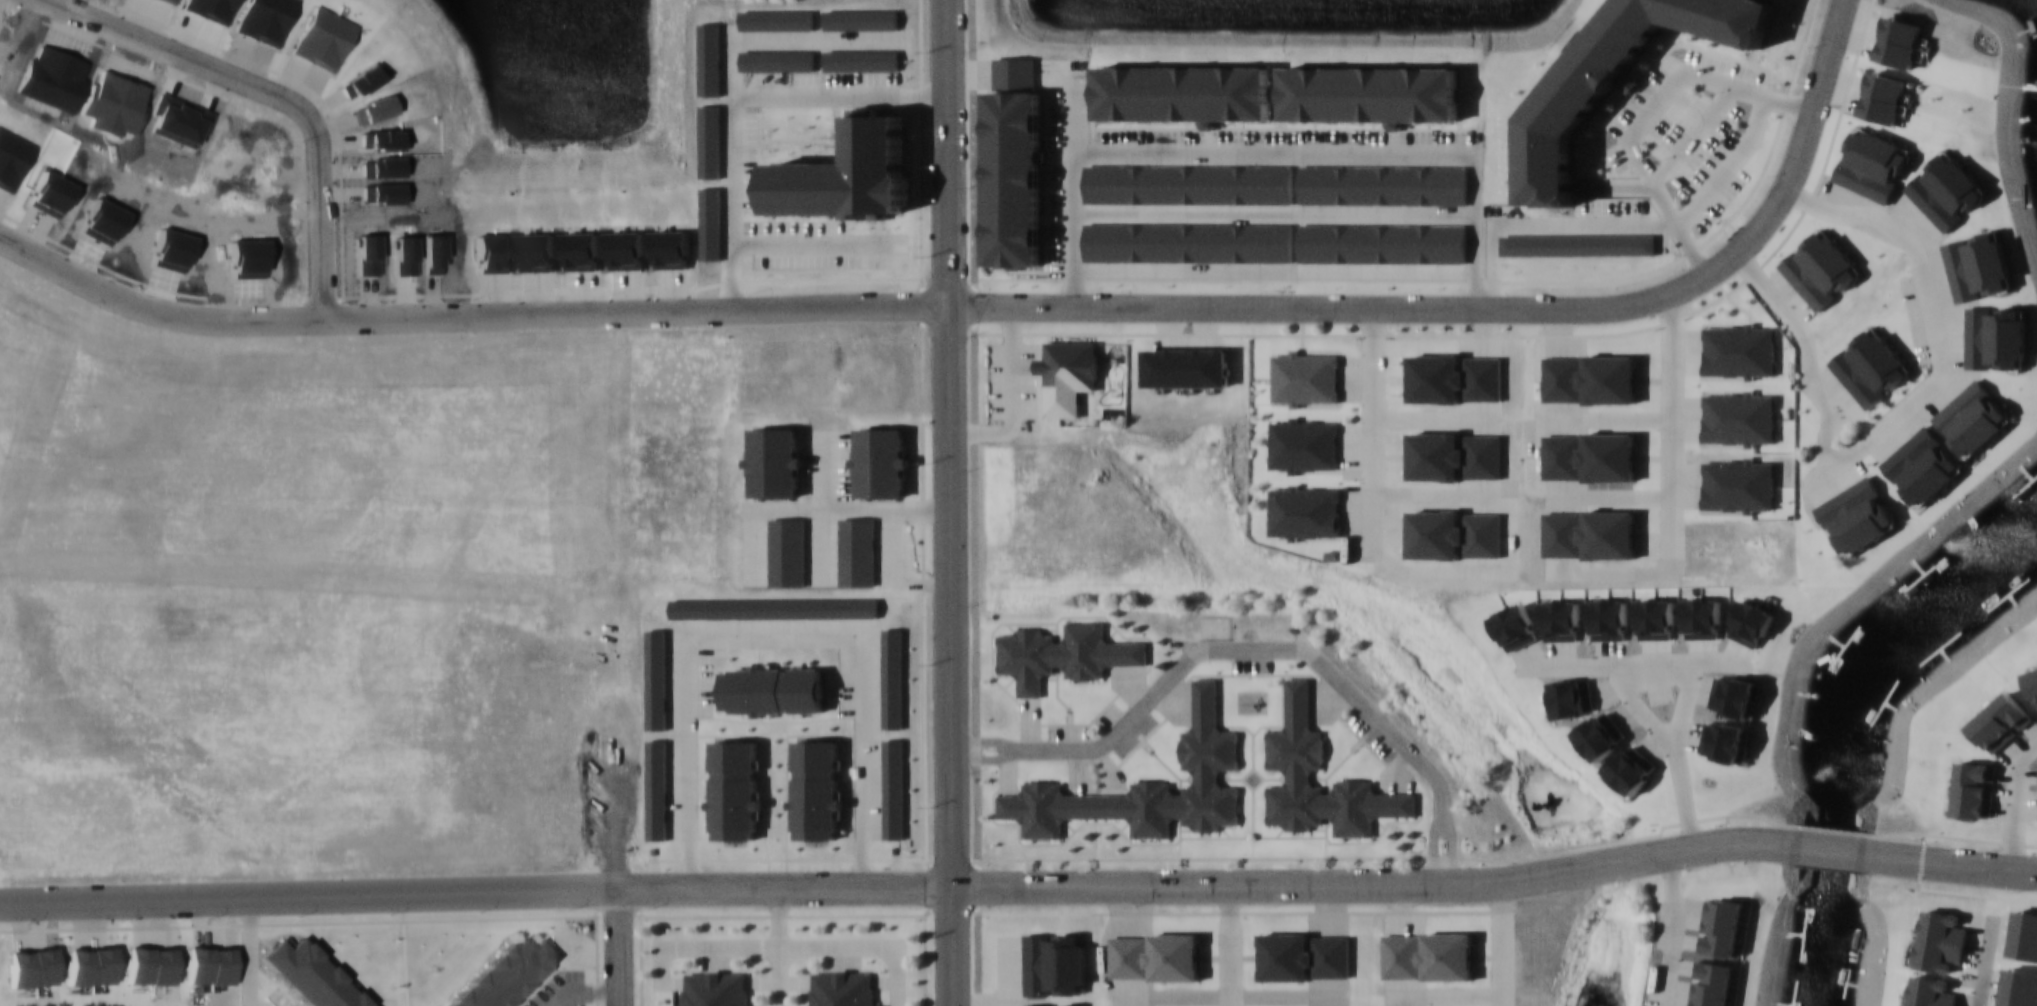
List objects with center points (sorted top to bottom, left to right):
building: (1184, 92)
road: (272, 94)
building: (1015, 163)
building: (1188, 183)
building: (1188, 241)
building: (1383, 242)
building: (1988, 263)
building: (1820, 269)
road: (1489, 309)
road: (465, 314)
building: (1739, 350)
building: (1070, 365)
building: (1306, 376)
building: (1456, 378)
building: (1590, 378)
building: (1740, 417)
road: (949, 443)
building: (1304, 444)
building: (1455, 456)
building: (1590, 456)
building: (775, 461)
building: (879, 462)
building: (1922, 466)
building: (1307, 511)
building: (1857, 515)
building: (1563, 533)
building: (1606, 533)
building: (1455, 534)
building: (787, 550)
building: (857, 550)
building: (774, 608)
road: (1253, 649)
building: (1063, 654)
building: (656, 678)
building: (893, 678)
building: (2032, 684)
building: (773, 689)
building: (1998, 720)
road: (1282, 725)
road: (984, 740)
building: (1296, 748)
road: (985, 758)
road: (1682, 760)
road: (1263, 778)
building: (1146, 785)
building: (816, 788)
building: (893, 788)
building: (657, 789)
building: (734, 789)
building: (1974, 790)
road: (2014, 799)
road: (1070, 834)
road: (1210, 836)
road: (1260, 836)
road: (1372, 841)
road: (1451, 848)
road: (1831, 848)
road: (1434, 849)
road: (1097, 853)
road: (1255, 857)
road: (1949, 860)
road: (1326, 862)
road: (1378, 882)
road: (727, 888)
road: (309, 896)
building: (1721, 925)
road: (1670, 928)
building: (1939, 940)
road: (1502, 944)
road: (1229, 945)
road: (953, 946)
building: (1428, 955)
building: (1155, 956)
building: (1304, 956)
road: (1983, 962)
building: (1054, 963)
building: (502, 975)
building: (1713, 983)
building: (715, 988)
building: (842, 988)
building: (1929, 992)
building: (1053, 1004)

